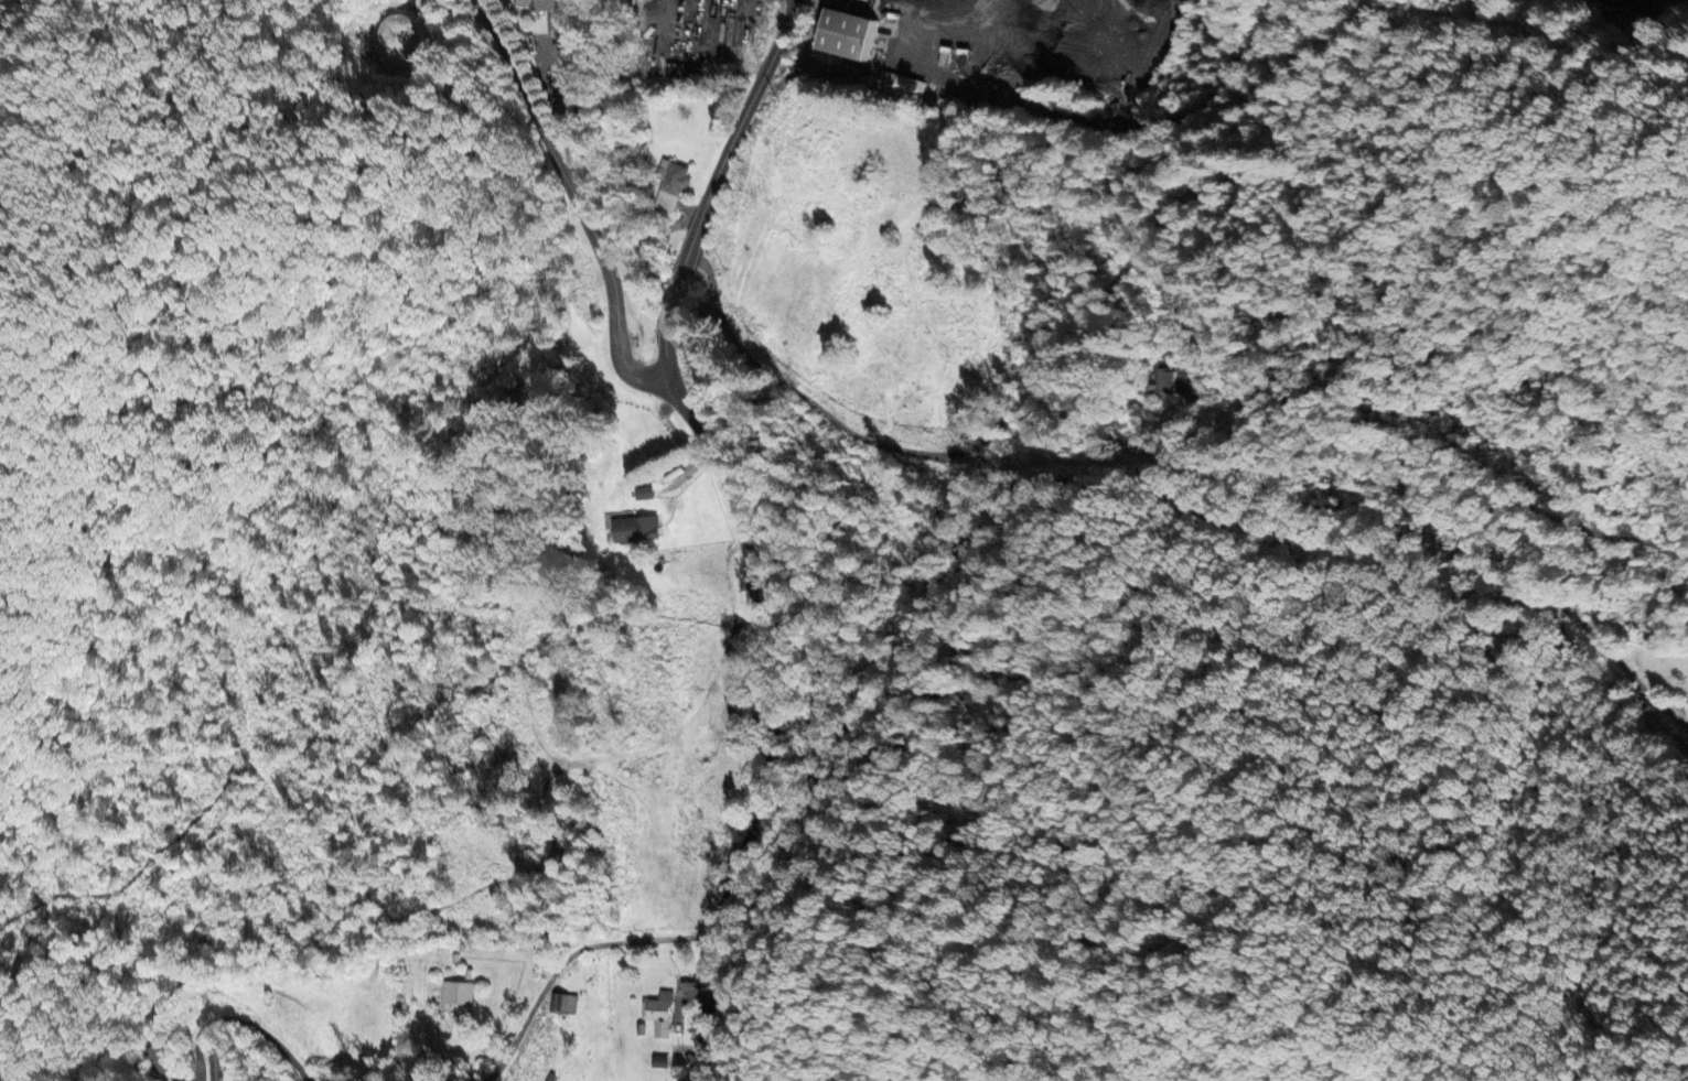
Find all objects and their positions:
building: (534, 4)
building: (842, 35)
building: (401, 36)
road: (1025, 68)
building: (900, 86)
road: (737, 130)
building: (669, 184)
road: (574, 198)
road: (675, 300)
road: (663, 358)
road: (1042, 376)
building: (1169, 376)
building: (642, 493)
road: (1514, 498)
building: (633, 529)
road: (1519, 572)
road: (772, 724)
road: (563, 958)
building: (456, 993)
building: (561, 1003)
building: (657, 1014)
road: (266, 1030)
building: (160, 1059)
road: (196, 1059)
building: (658, 1061)
building: (217, 1064)

